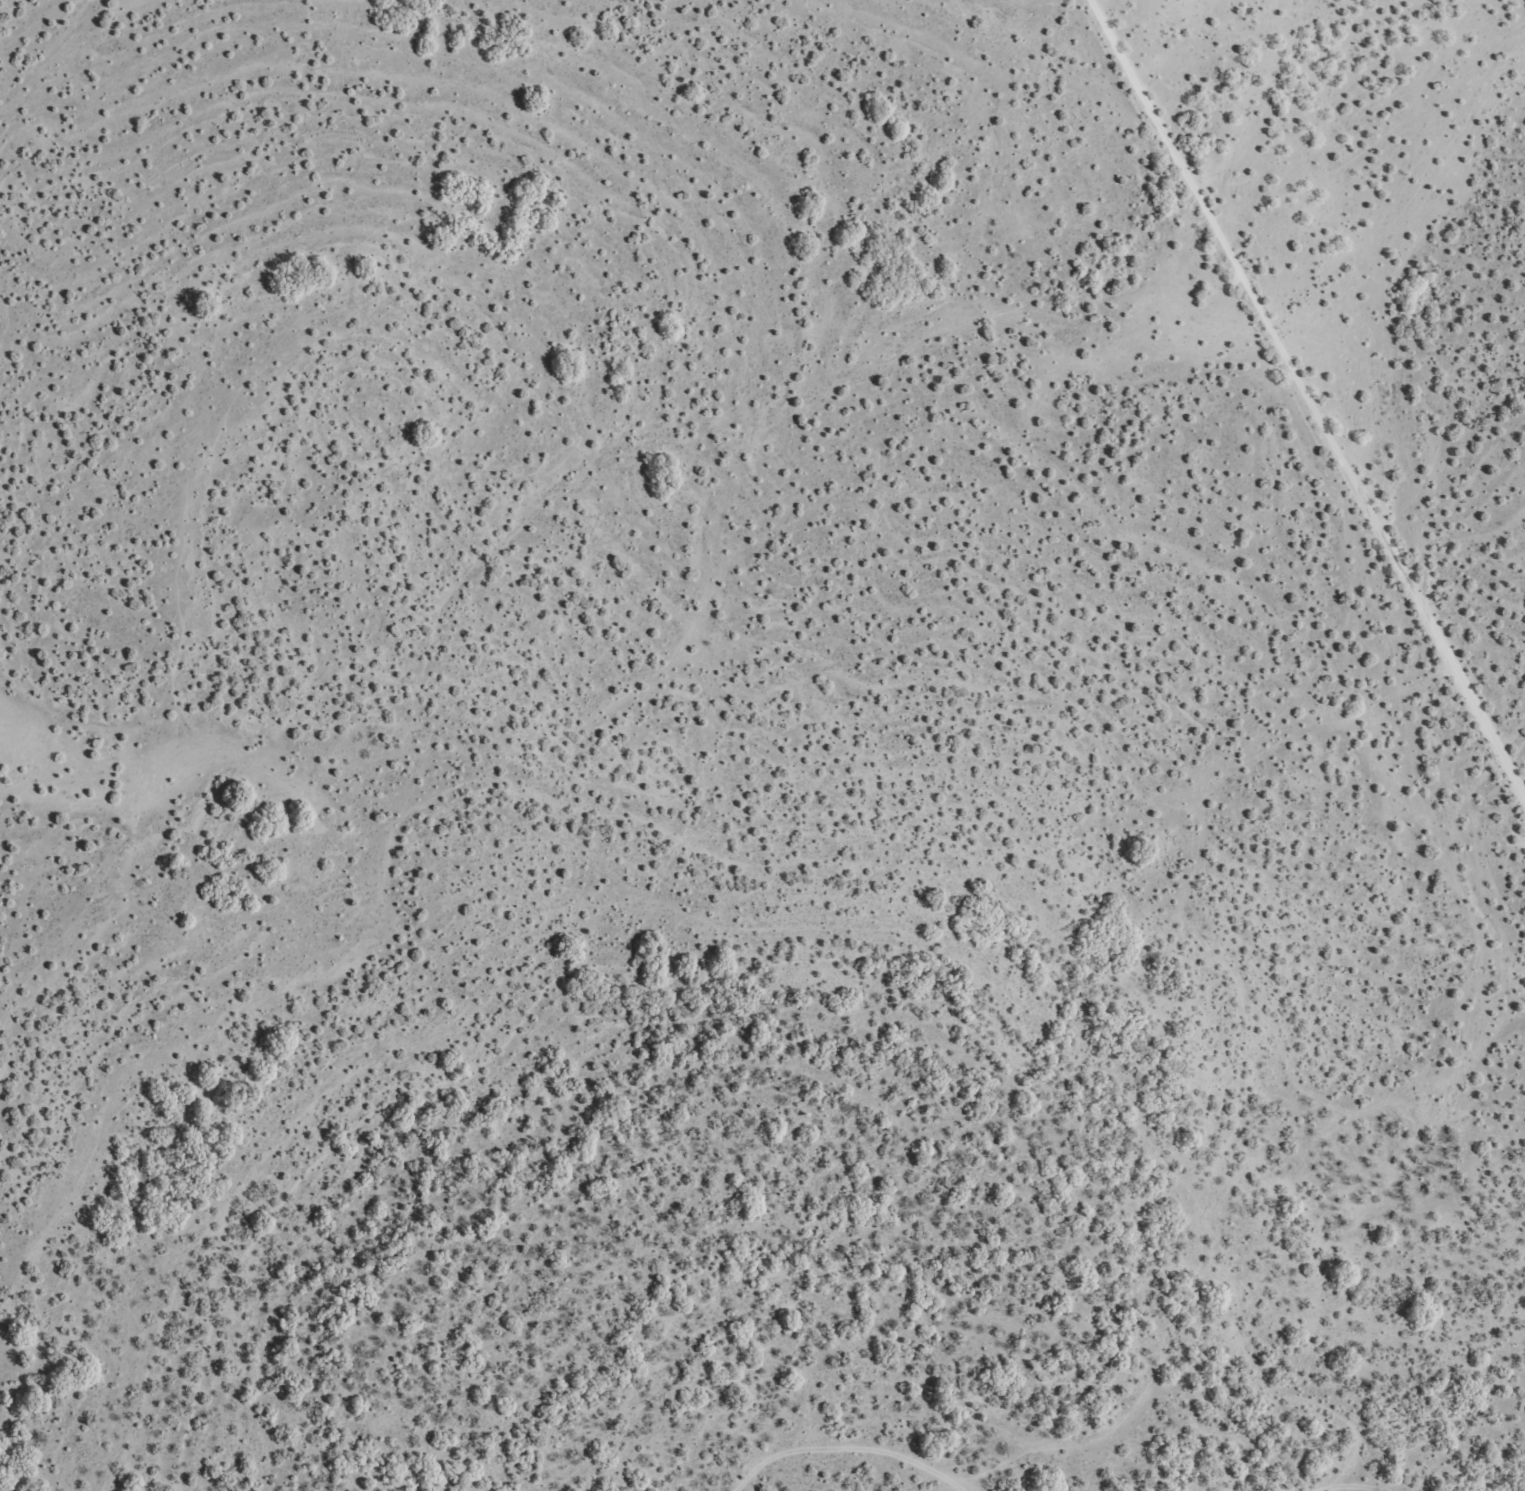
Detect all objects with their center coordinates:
road: (1311, 417)

